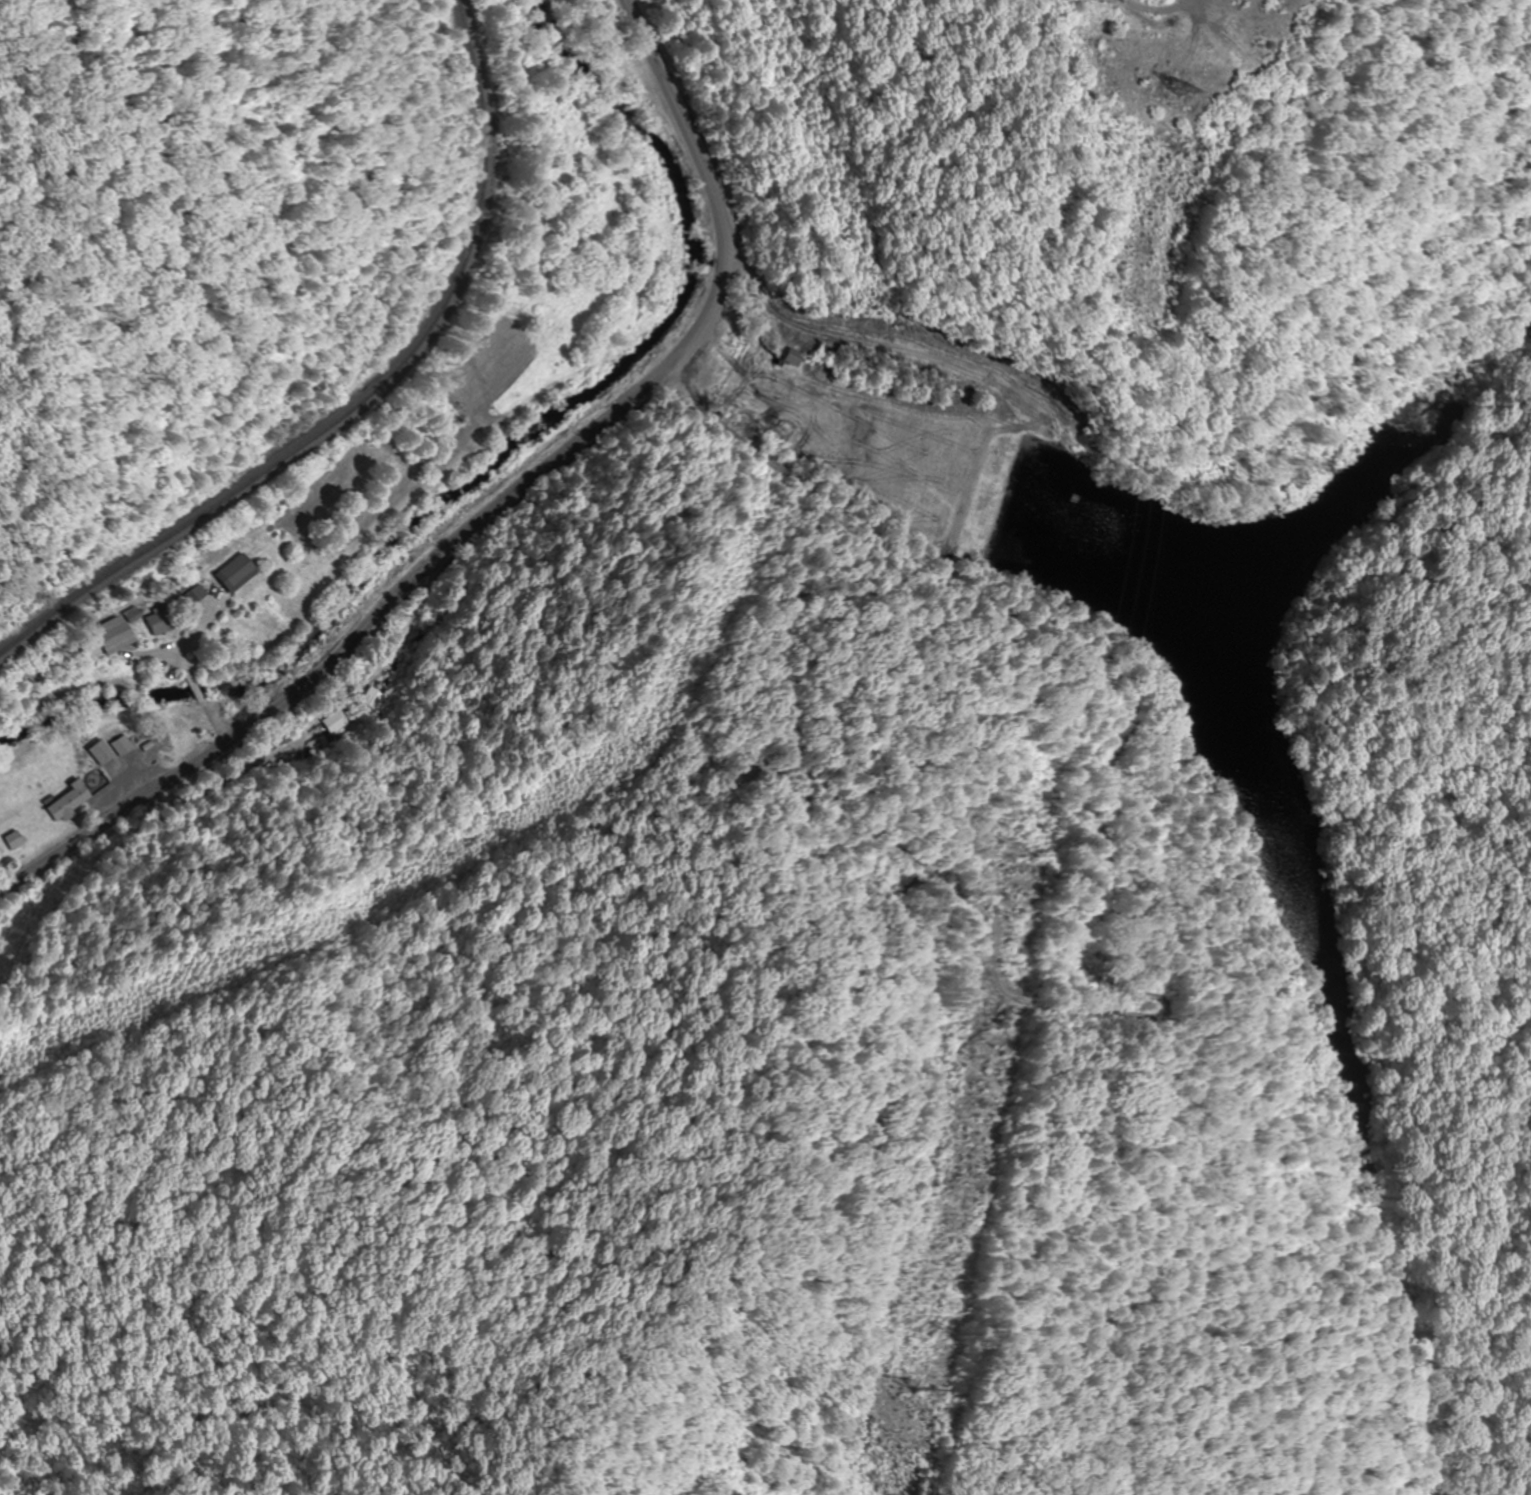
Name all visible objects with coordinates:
power tower: (1169, 88)
building: (794, 357)
railway: (360, 399)
road: (495, 512)
building: (233, 574)
building: (160, 622)
building: (114, 636)
building: (370, 698)
building: (332, 722)
building: (119, 745)
building: (98, 752)
building: (66, 801)
building: (10, 840)
power tower: (904, 1388)

